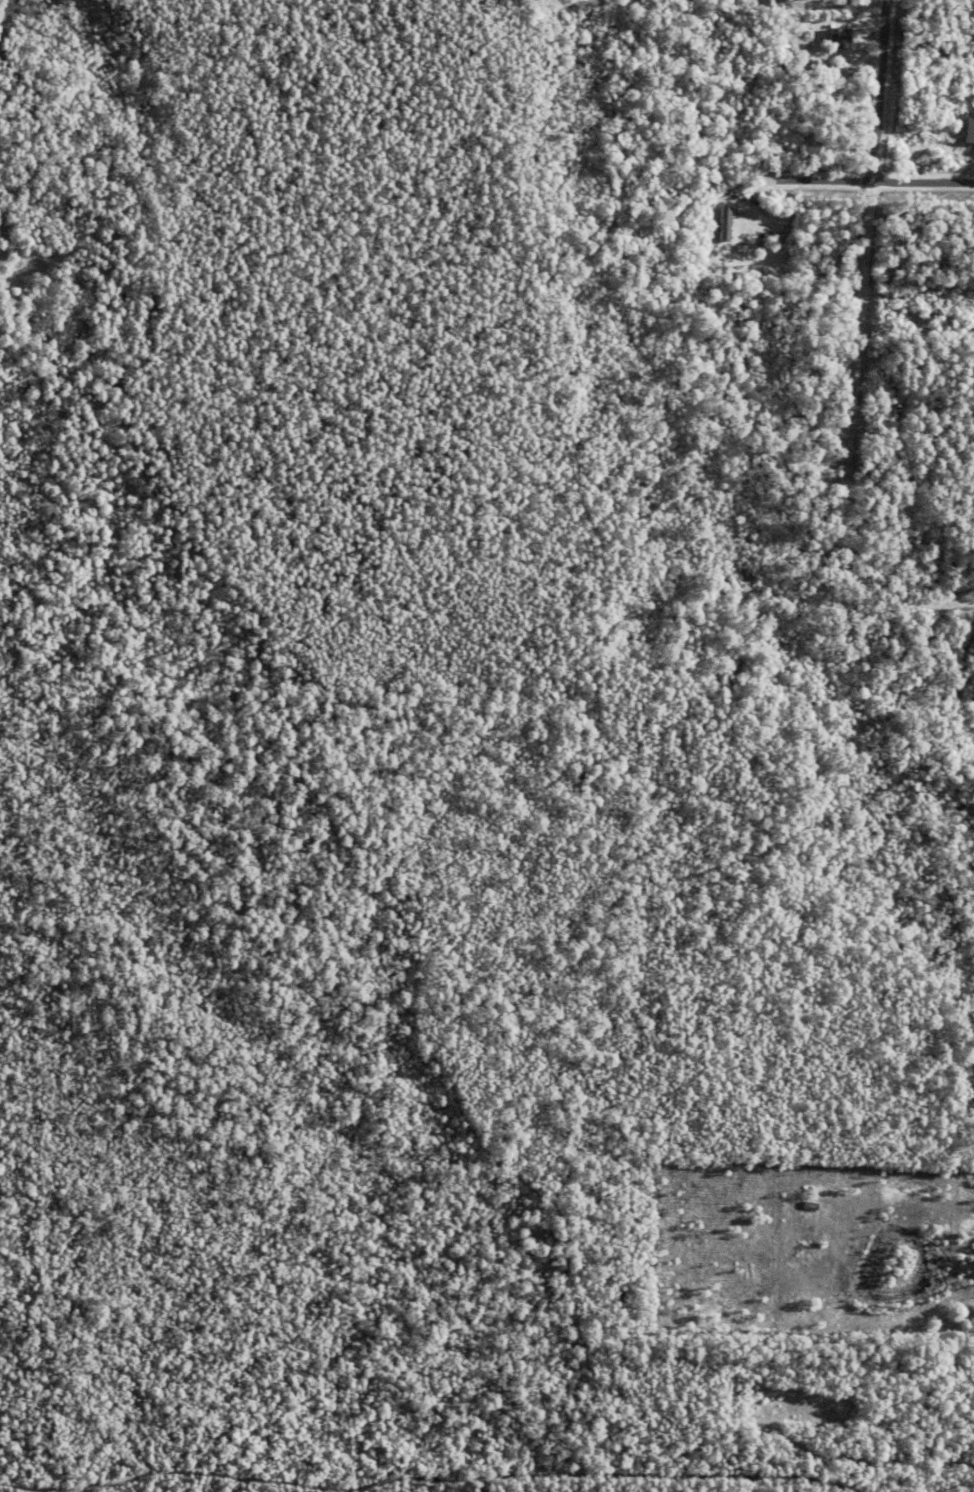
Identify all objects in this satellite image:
building: (838, 41)
building: (968, 136)
road: (867, 182)
building: (754, 202)
building: (725, 227)
building: (783, 242)
building: (736, 252)
road: (867, 253)
road: (947, 597)
building: (792, 1191)
building: (793, 1206)
building: (810, 1206)
building: (801, 1242)

